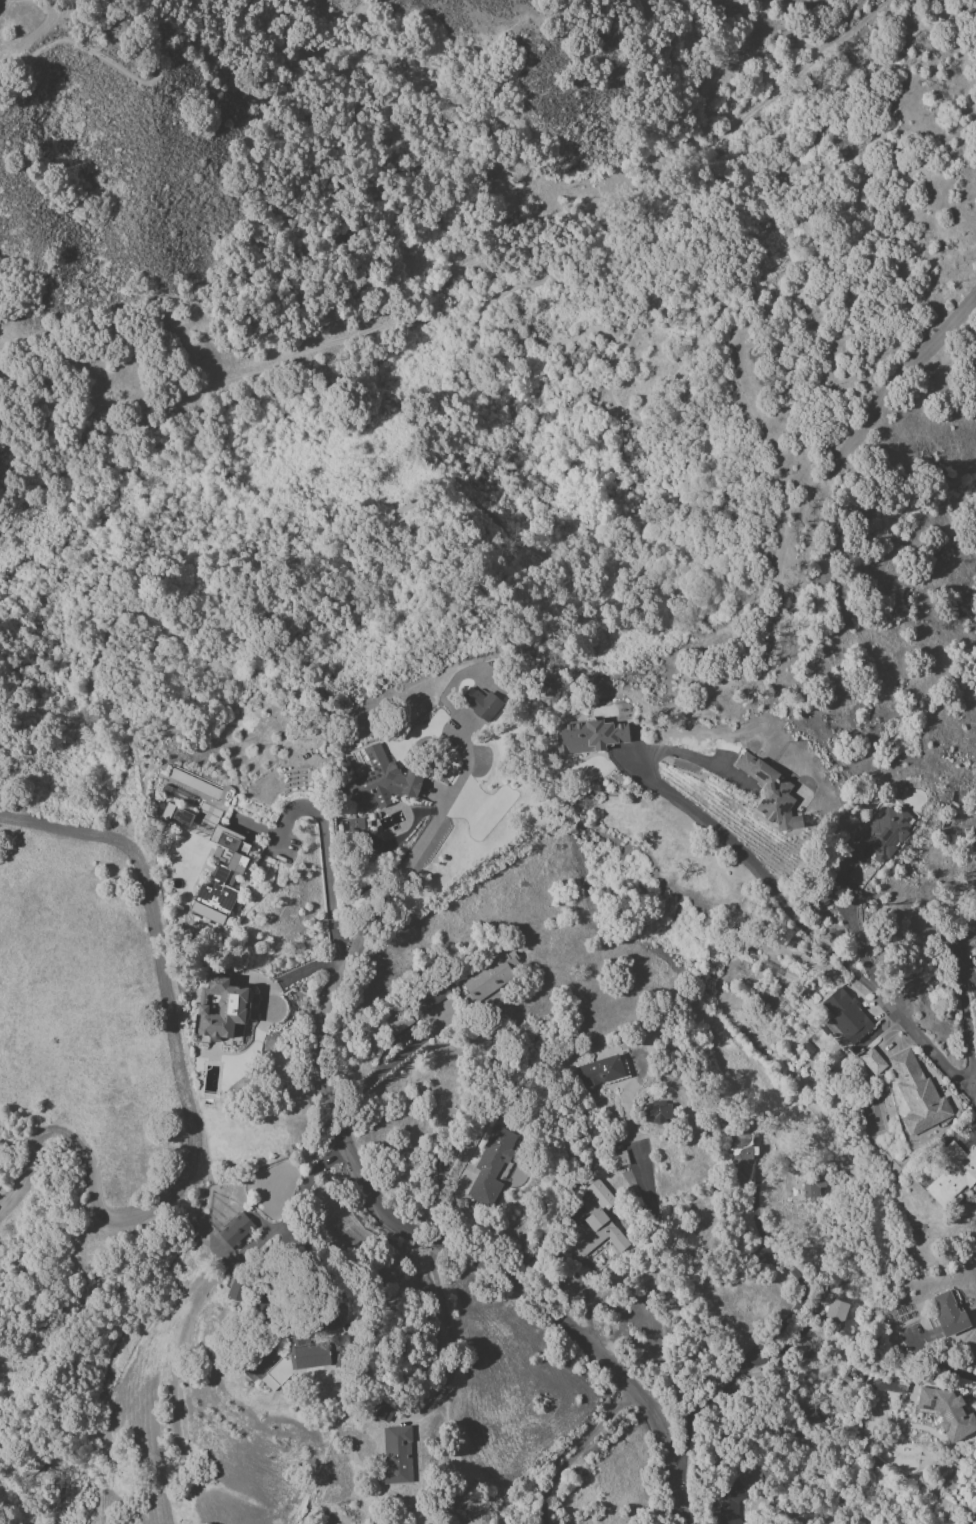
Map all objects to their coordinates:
road: (111, 68)
road: (703, 91)
road: (768, 98)
road: (330, 343)
road: (616, 543)
building: (481, 704)
building: (588, 736)
road: (693, 757)
building: (382, 780)
building: (770, 793)
building: (355, 824)
building: (214, 840)
building: (873, 842)
road: (416, 844)
road: (842, 887)
road: (329, 906)
road: (860, 950)
road: (967, 971)
building: (489, 976)
road: (857, 977)
building: (432, 998)
road: (269, 999)
building: (220, 1008)
building: (846, 1016)
building: (395, 1024)
building: (872, 1061)
road: (973, 1064)
building: (599, 1071)
road: (376, 1075)
building: (917, 1094)
road: (970, 1094)
building: (658, 1110)
park: (875, 1123)
road: (971, 1136)
building: (490, 1165)
building: (952, 1173)
road: (304, 1188)
building: (812, 1190)
building: (597, 1191)
building: (238, 1231)
building: (595, 1234)
road: (455, 1250)
road: (761, 1260)
road: (585, 1299)
building: (835, 1312)
building: (949, 1314)
road: (449, 1343)
building: (320, 1354)
road: (941, 1365)
building: (277, 1374)
building: (887, 1390)
building: (384, 1412)
building: (947, 1412)
road: (574, 1453)
building: (396, 1454)
building: (730, 1503)
building: (390, 1523)

